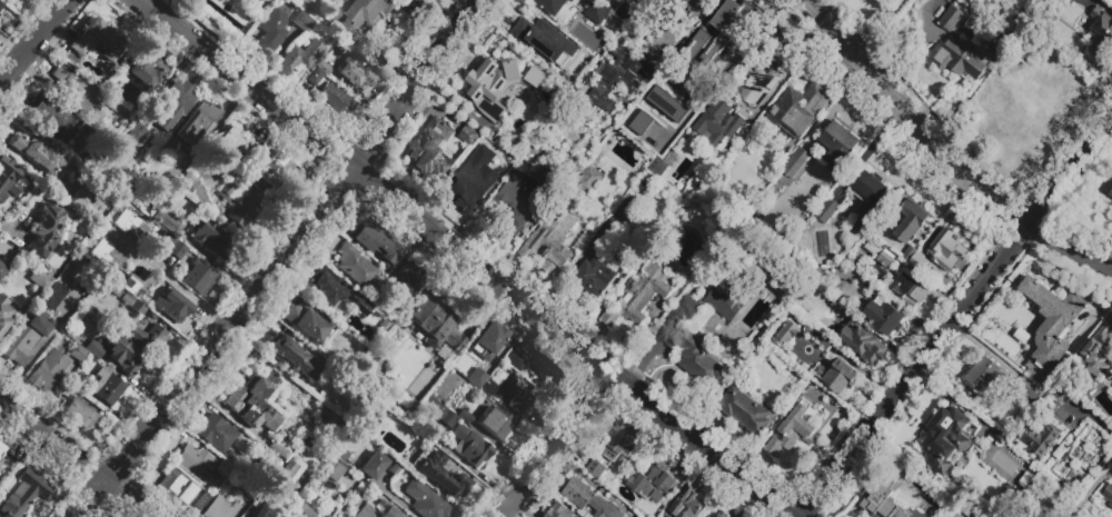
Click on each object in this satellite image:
building: (420, 0)
building: (692, 0)
building: (306, 3)
building: (0, 4)
building: (554, 4)
building: (656, 6)
building: (1, 7)
building: (596, 12)
building: (623, 12)
building: (1074, 16)
building: (359, 18)
building: (951, 19)
building: (302, 21)
road: (682, 27)
building: (272, 30)
building: (657, 32)
building: (1100, 32)
building: (715, 39)
road: (31, 40)
building: (96, 40)
building: (544, 41)
building: (298, 57)
building: (772, 58)
building: (961, 58)
building: (516, 64)
building: (322, 66)
building: (145, 68)
road: (787, 69)
building: (355, 73)
building: (314, 77)
building: (619, 82)
building: (741, 90)
building: (83, 92)
building: (338, 101)
building: (480, 103)
building: (172, 105)
building: (667, 105)
building: (798, 109)
building: (526, 110)
building: (49, 115)
building: (653, 120)
building: (196, 122)
building: (638, 122)
building: (719, 126)
building: (138, 131)
building: (667, 139)
building: (236, 140)
building: (838, 145)
building: (430, 147)
building: (168, 150)
building: (518, 150)
road: (867, 150)
road: (943, 152)
building: (41, 155)
building: (795, 162)
building: (251, 170)
building: (277, 175)
building: (41, 176)
building: (8, 177)
building: (475, 179)
building: (188, 182)
road: (376, 187)
building: (1108, 189)
building: (157, 191)
building: (868, 199)
building: (238, 202)
building: (517, 205)
building: (827, 211)
building: (160, 217)
building: (909, 218)
building: (559, 226)
building: (50, 230)
building: (146, 231)
building: (609, 232)
building: (212, 240)
building: (375, 240)
building: (941, 253)
building: (106, 255)
building: (909, 255)
building: (658, 256)
road: (280, 258)
building: (886, 258)
building: (354, 264)
building: (2, 271)
building: (198, 276)
building: (594, 278)
building: (39, 279)
building: (406, 279)
building: (863, 282)
building: (131, 284)
building: (909, 291)
building: (337, 292)
road: (187, 294)
building: (53, 296)
building: (638, 298)
building: (378, 299)
building: (132, 302)
building: (722, 304)
building: (171, 306)
building: (837, 307)
building: (3, 315)
building: (883, 317)
building: (305, 320)
road: (955, 320)
building: (433, 322)
building: (1051, 326)
building: (785, 334)
building: (149, 337)
building: (490, 337)
building: (26, 340)
building: (813, 340)
building: (861, 342)
building: (694, 345)
building: (96, 349)
building: (77, 352)
building: (1095, 352)
building: (125, 355)
building: (289, 355)
building: (529, 361)
building: (47, 370)
building: (985, 374)
building: (836, 376)
building: (76, 384)
building: (105, 386)
building: (316, 386)
building: (67, 390)
building: (1029, 390)
building: (249, 392)
building: (1111, 394)
building: (512, 396)
building: (1055, 396)
building: (340, 398)
building: (745, 410)
building: (82, 414)
building: (267, 416)
building: (464, 416)
building: (445, 418)
building: (284, 421)
building: (496, 421)
building: (216, 431)
building: (791, 433)
building: (944, 436)
building: (1037, 438)
building: (620, 441)
building: (470, 446)
road: (555, 446)
road: (701, 446)
building: (1, 448)
building: (1074, 448)
road: (73, 457)
building: (193, 461)
building: (4, 464)
building: (269, 464)
building: (986, 464)
building: (373, 465)
building: (224, 467)
building: (335, 468)
building: (595, 468)
building: (286, 473)
building: (441, 475)
building: (653, 483)
building: (176, 486)
building: (24, 494)
building: (1108, 494)
building: (254, 496)
building: (587, 498)
road: (395, 499)
building: (424, 500)
building: (878, 501)
building: (200, 505)
building: (685, 505)
building: (219, 507)
building: (386, 509)
building: (262, 510)
building: (302, 511)
building: (365, 511)
building: (560, 511)
building: (1089, 511)
building: (717, 514)
building: (962, 515)

